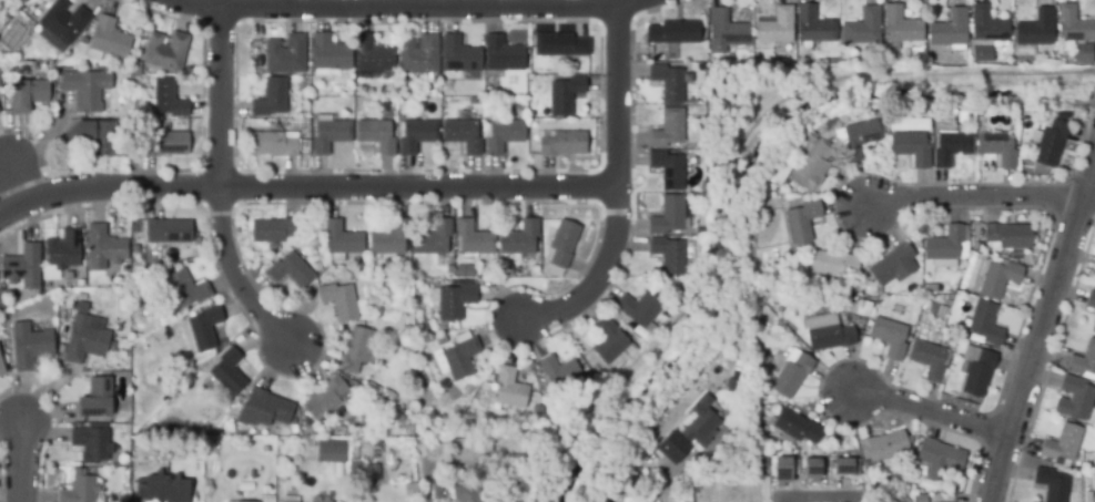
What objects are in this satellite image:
road: (423, 12)
building: (62, 27)
building: (814, 27)
building: (987, 27)
building: (1074, 27)
building: (777, 28)
building: (901, 28)
building: (863, 29)
building: (727, 30)
building: (950, 30)
building: (1036, 30)
building: (673, 33)
building: (108, 41)
building: (560, 47)
building: (257, 50)
building: (166, 54)
building: (982, 54)
building: (1083, 54)
building: (503, 55)
building: (286, 57)
building: (328, 57)
building: (419, 57)
building: (459, 57)
building: (374, 58)
building: (135, 71)
building: (669, 84)
building: (87, 91)
building: (27, 92)
building: (404, 92)
building: (565, 96)
building: (168, 101)
building: (271, 101)
building: (1062, 117)
building: (534, 125)
building: (669, 130)
building: (329, 135)
building: (416, 136)
building: (463, 136)
building: (501, 136)
building: (101, 137)
building: (376, 137)
building: (811, 139)
building: (860, 140)
building: (165, 145)
building: (273, 145)
building: (557, 145)
building: (1051, 145)
building: (951, 148)
building: (997, 148)
building: (911, 150)
building: (812, 167)
road: (728, 168)
building: (668, 171)
road: (17, 185)
road: (214, 186)
road: (302, 194)
road: (1089, 195)
road: (977, 196)
road: (609, 197)
building: (668, 217)
building: (802, 223)
building: (170, 232)
building: (274, 232)
building: (1007, 237)
building: (474, 239)
building: (520, 239)
building: (342, 240)
building: (389, 240)
building: (433, 240)
building: (562, 245)
building: (946, 246)
building: (104, 249)
building: (64, 252)
building: (668, 256)
building: (893, 265)
building: (833, 266)
building: (22, 268)
building: (448, 268)
building: (465, 269)
building: (291, 272)
building: (506, 272)
power tower: (1073, 277)
building: (998, 280)
building: (186, 289)
building: (932, 289)
building: (1091, 301)
building: (339, 303)
building: (455, 303)
building: (639, 309)
building: (933, 310)
building: (862, 311)
building: (942, 313)
building: (985, 324)
building: (422, 328)
building: (1093, 329)
building: (204, 330)
road: (1044, 331)
building: (828, 334)
building: (890, 338)
building: (84, 341)
building: (609, 341)
building: (30, 347)
building: (357, 351)
building: (460, 359)
building: (929, 361)
building: (1083, 362)
power tower: (1046, 369)
building: (2, 370)
building: (977, 371)
building: (229, 373)
building: (560, 373)
building: (792, 375)
building: (732, 386)
building: (509, 390)
building: (97, 400)
building: (1075, 400)
building: (323, 406)
building: (264, 410)
building: (538, 411)
road: (933, 411)
building: (359, 417)
building: (797, 427)
building: (701, 428)
building: (675, 444)
building: (1063, 444)
building: (92, 445)
building: (331, 449)
building: (885, 450)
power tower: (1023, 451)
building: (472, 453)
road: (20, 461)
building: (761, 461)
building: (939, 461)
building: (844, 467)
building: (811, 469)
building: (254, 475)
building: (237, 477)
building: (822, 479)
road: (668, 482)
building: (1053, 485)
building: (81, 488)
building: (162, 491)
building: (437, 492)
building: (472, 494)
building: (599, 495)
building: (926, 499)
building: (291, 500)
building: (321, 500)
building: (239, 501)

